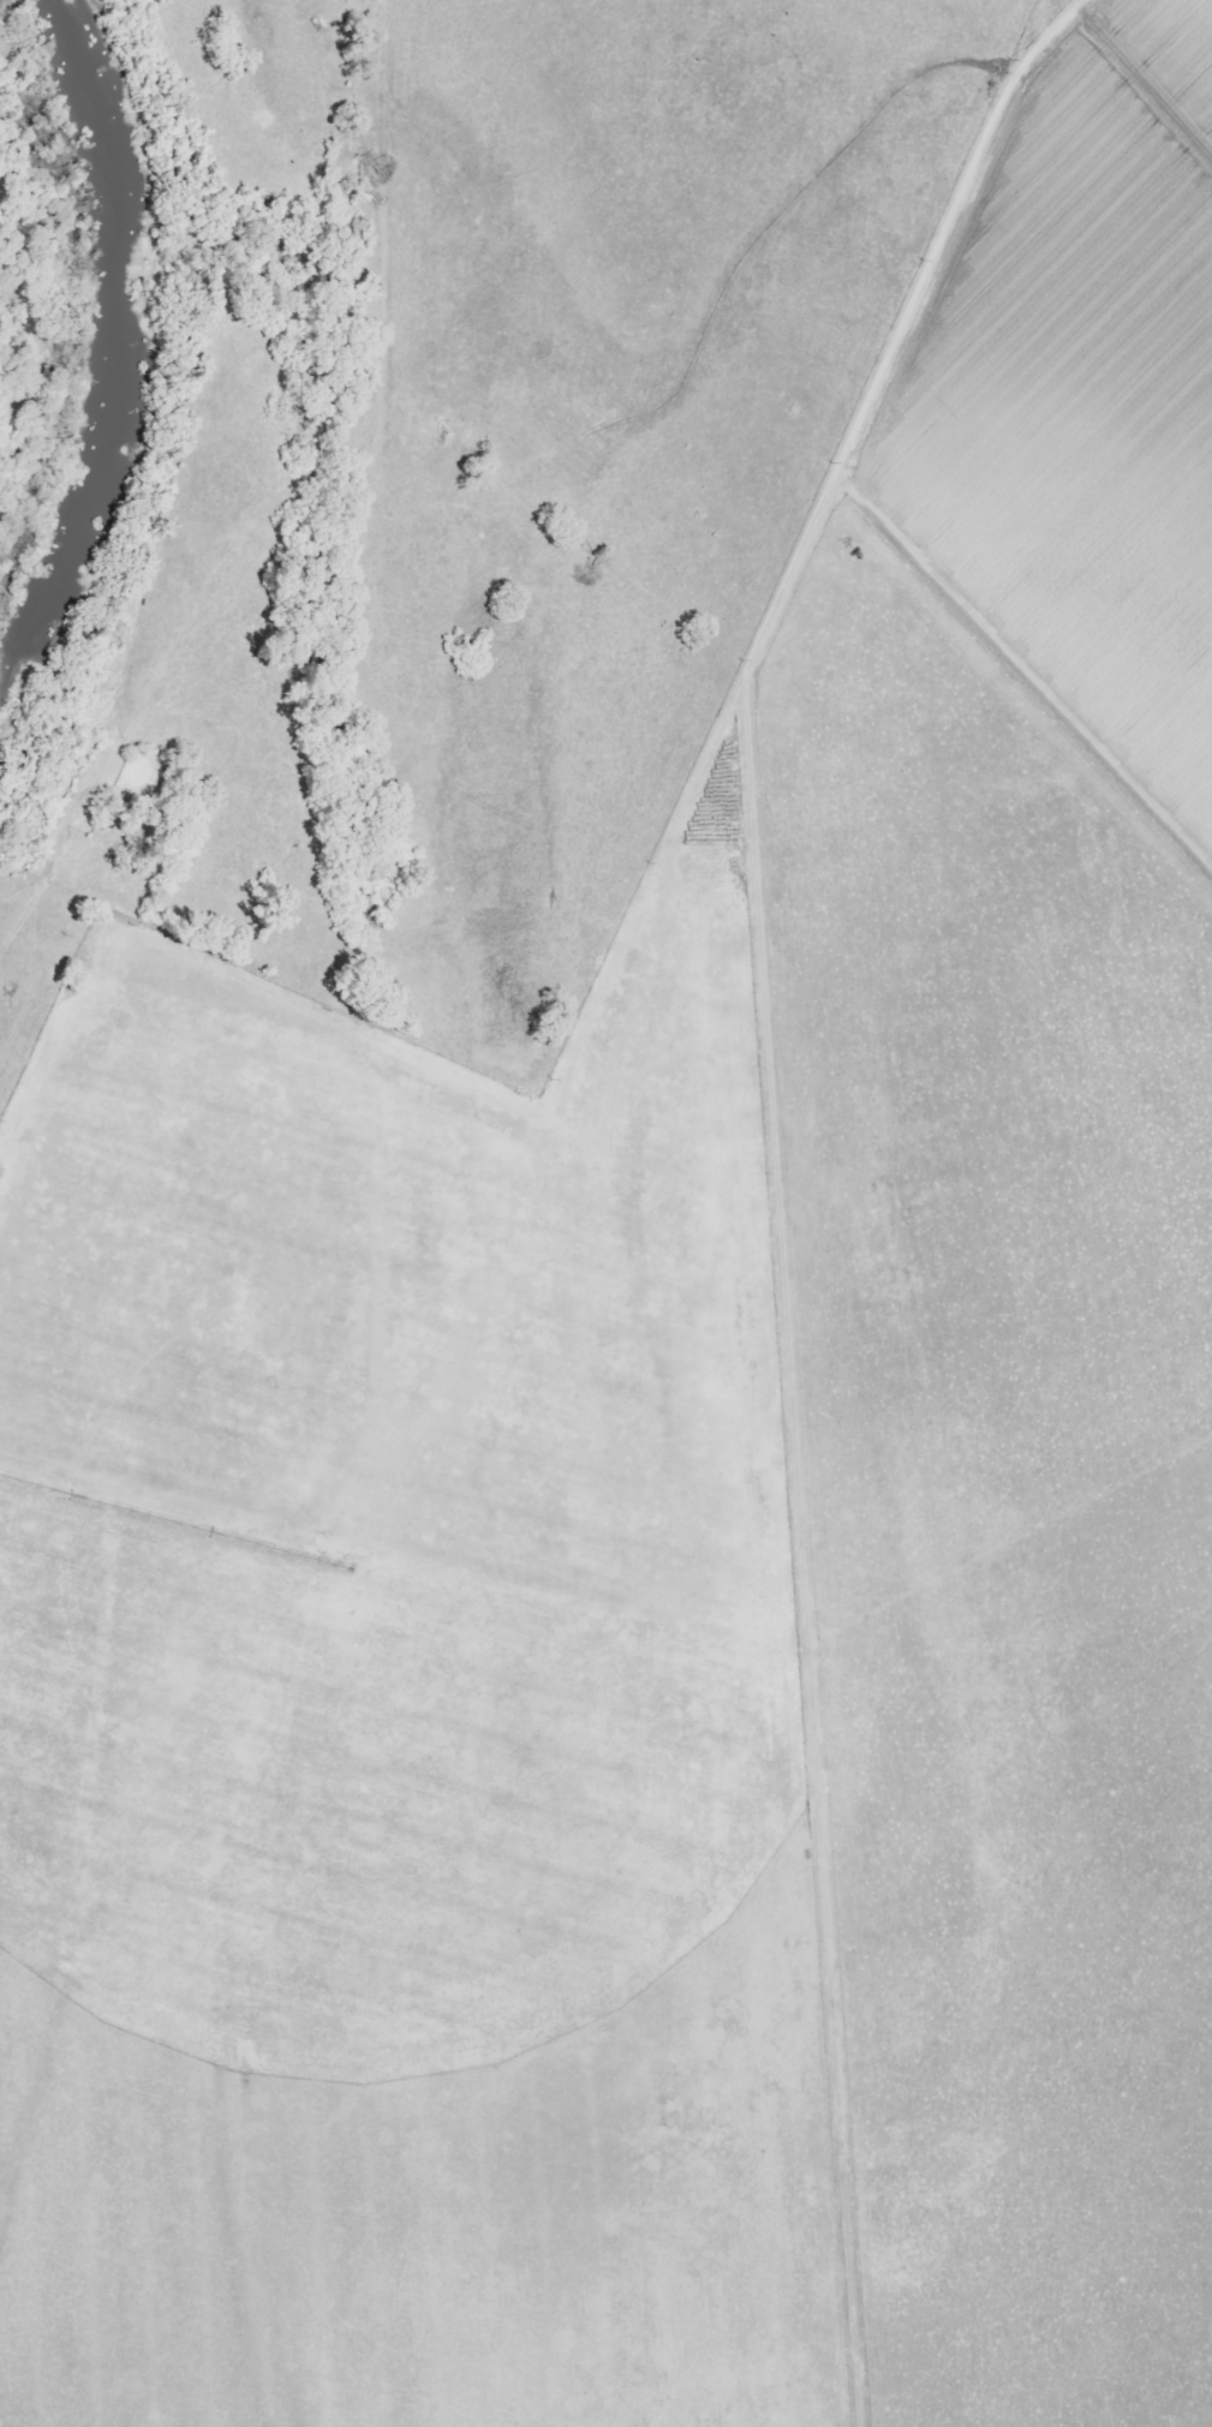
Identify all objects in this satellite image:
road: (889, 346)

